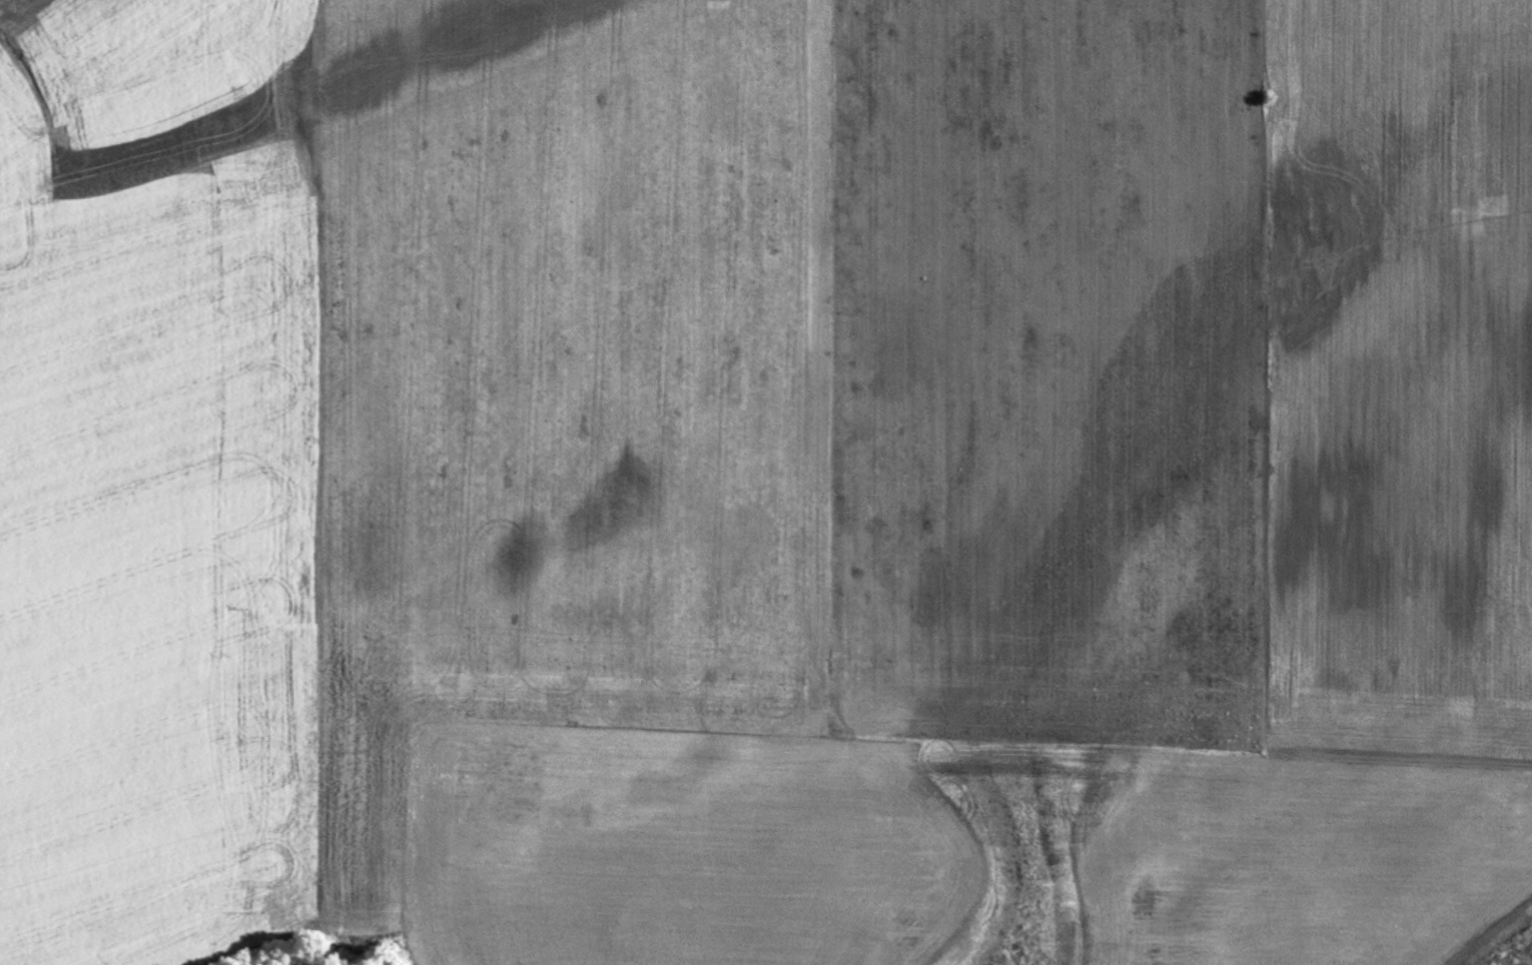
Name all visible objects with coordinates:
road: (1480, 710)

